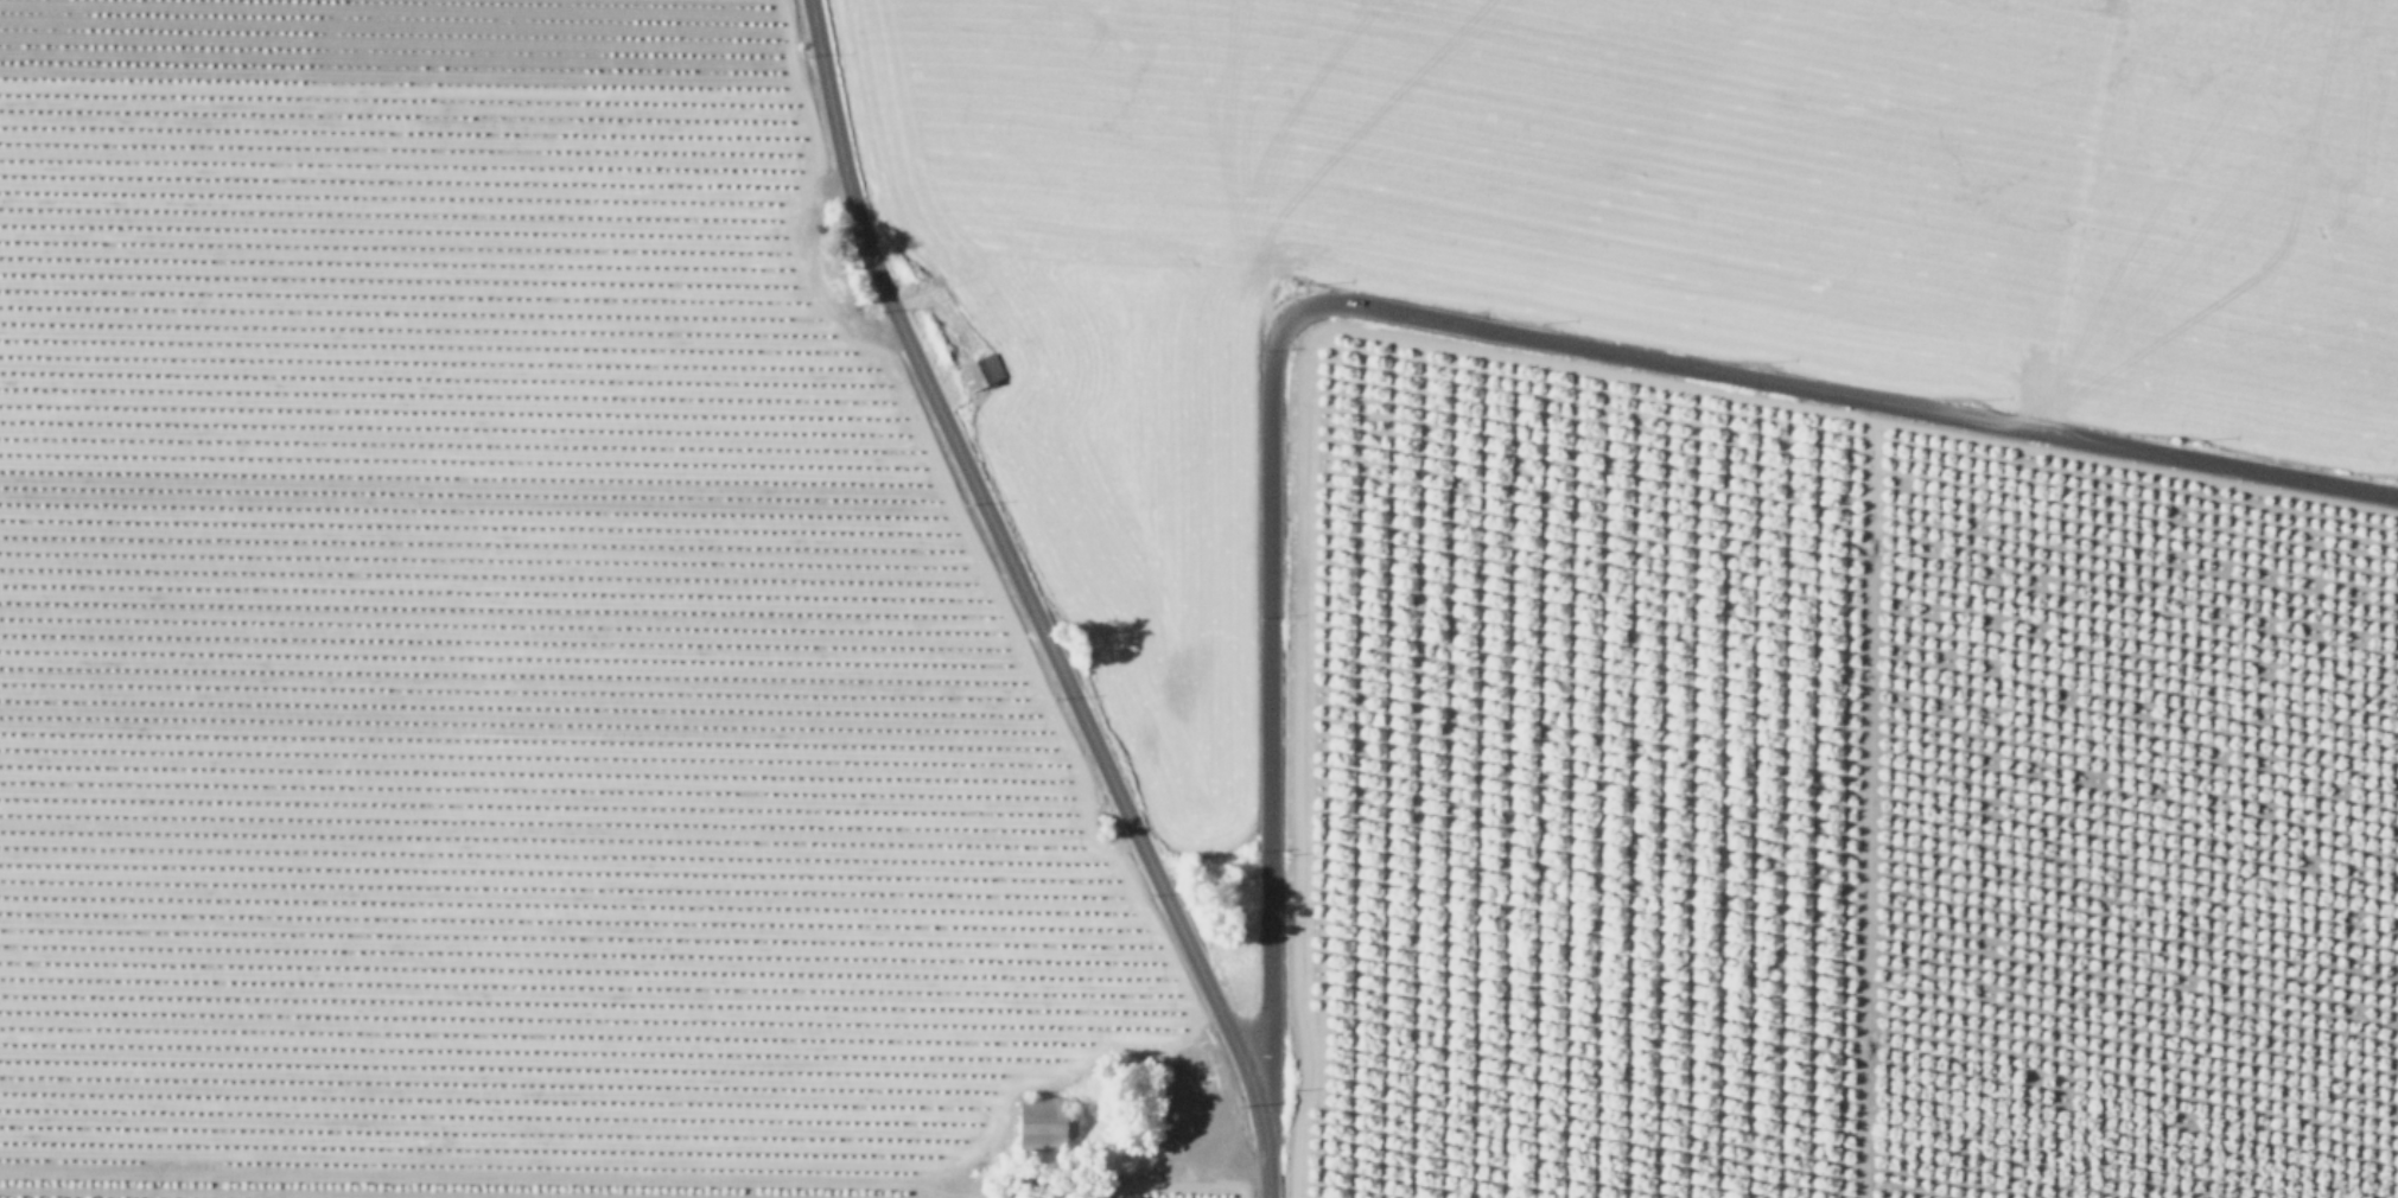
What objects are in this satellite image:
road: (1462, 320)
building: (981, 369)
crop: (884, 509)
road: (1028, 603)

